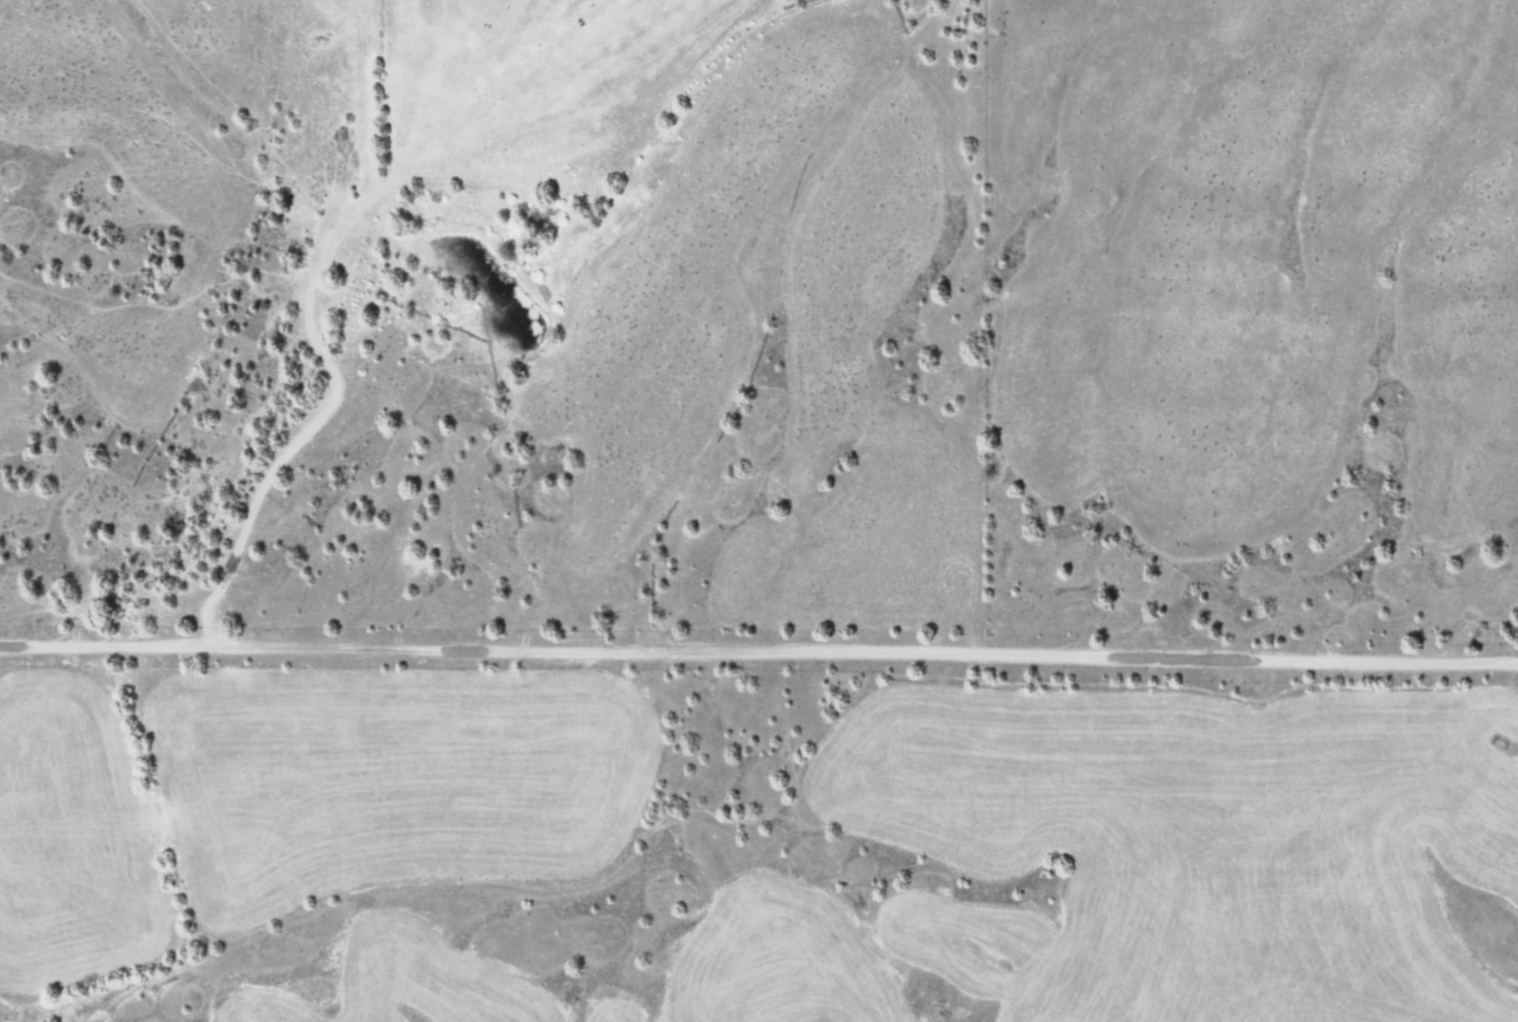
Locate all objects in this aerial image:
road: (759, 648)

